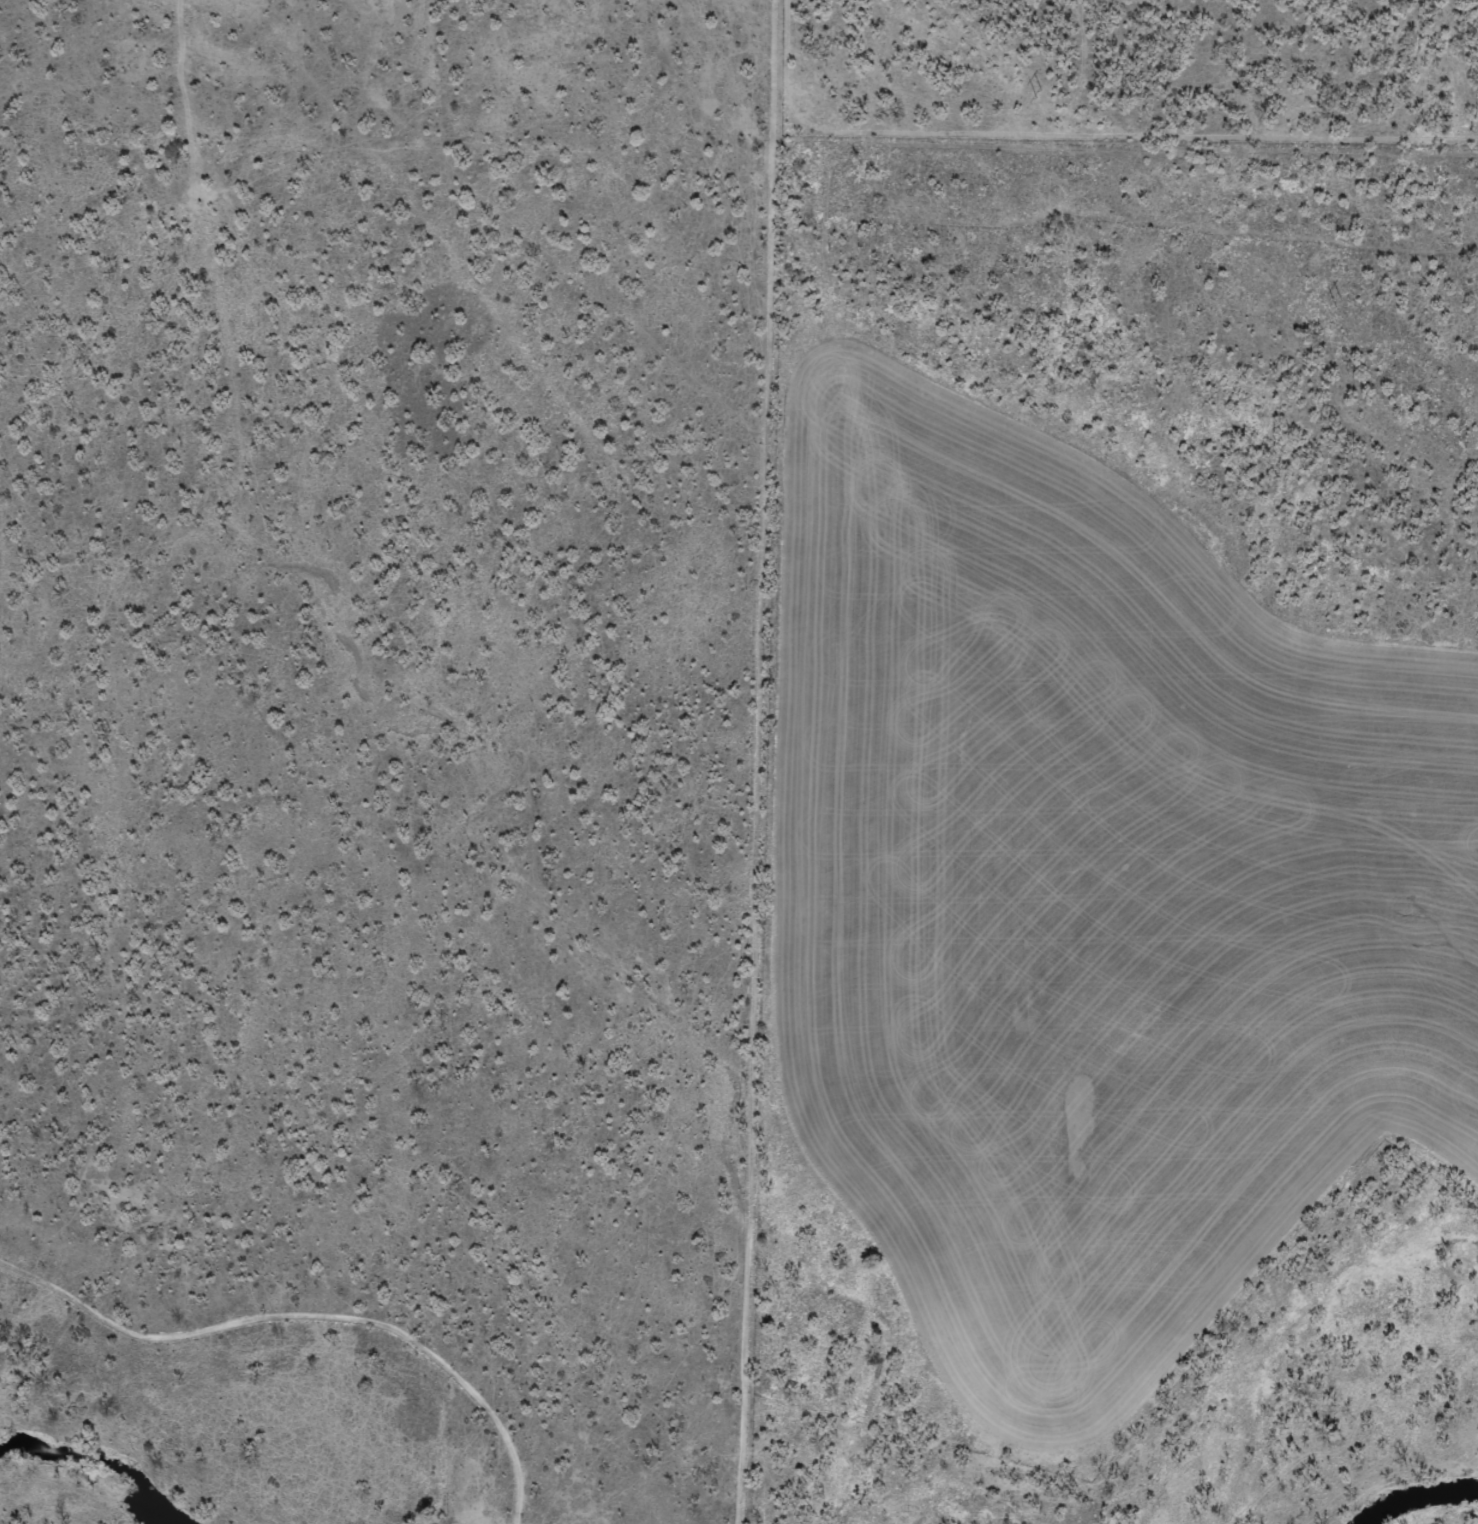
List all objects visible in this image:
power tower: (1036, 93)
power tower: (1337, 304)
road: (706, 762)
road: (305, 1340)

